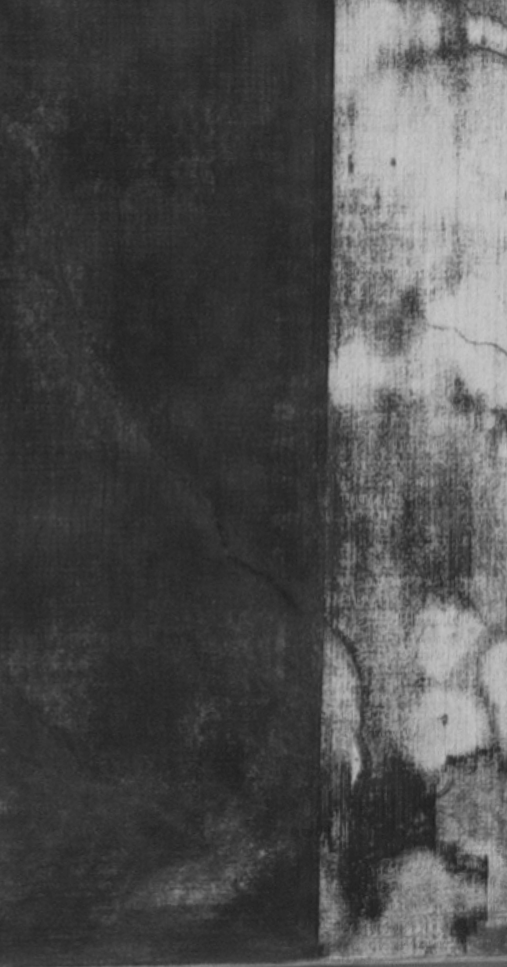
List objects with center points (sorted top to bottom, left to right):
road: (355, 964)

